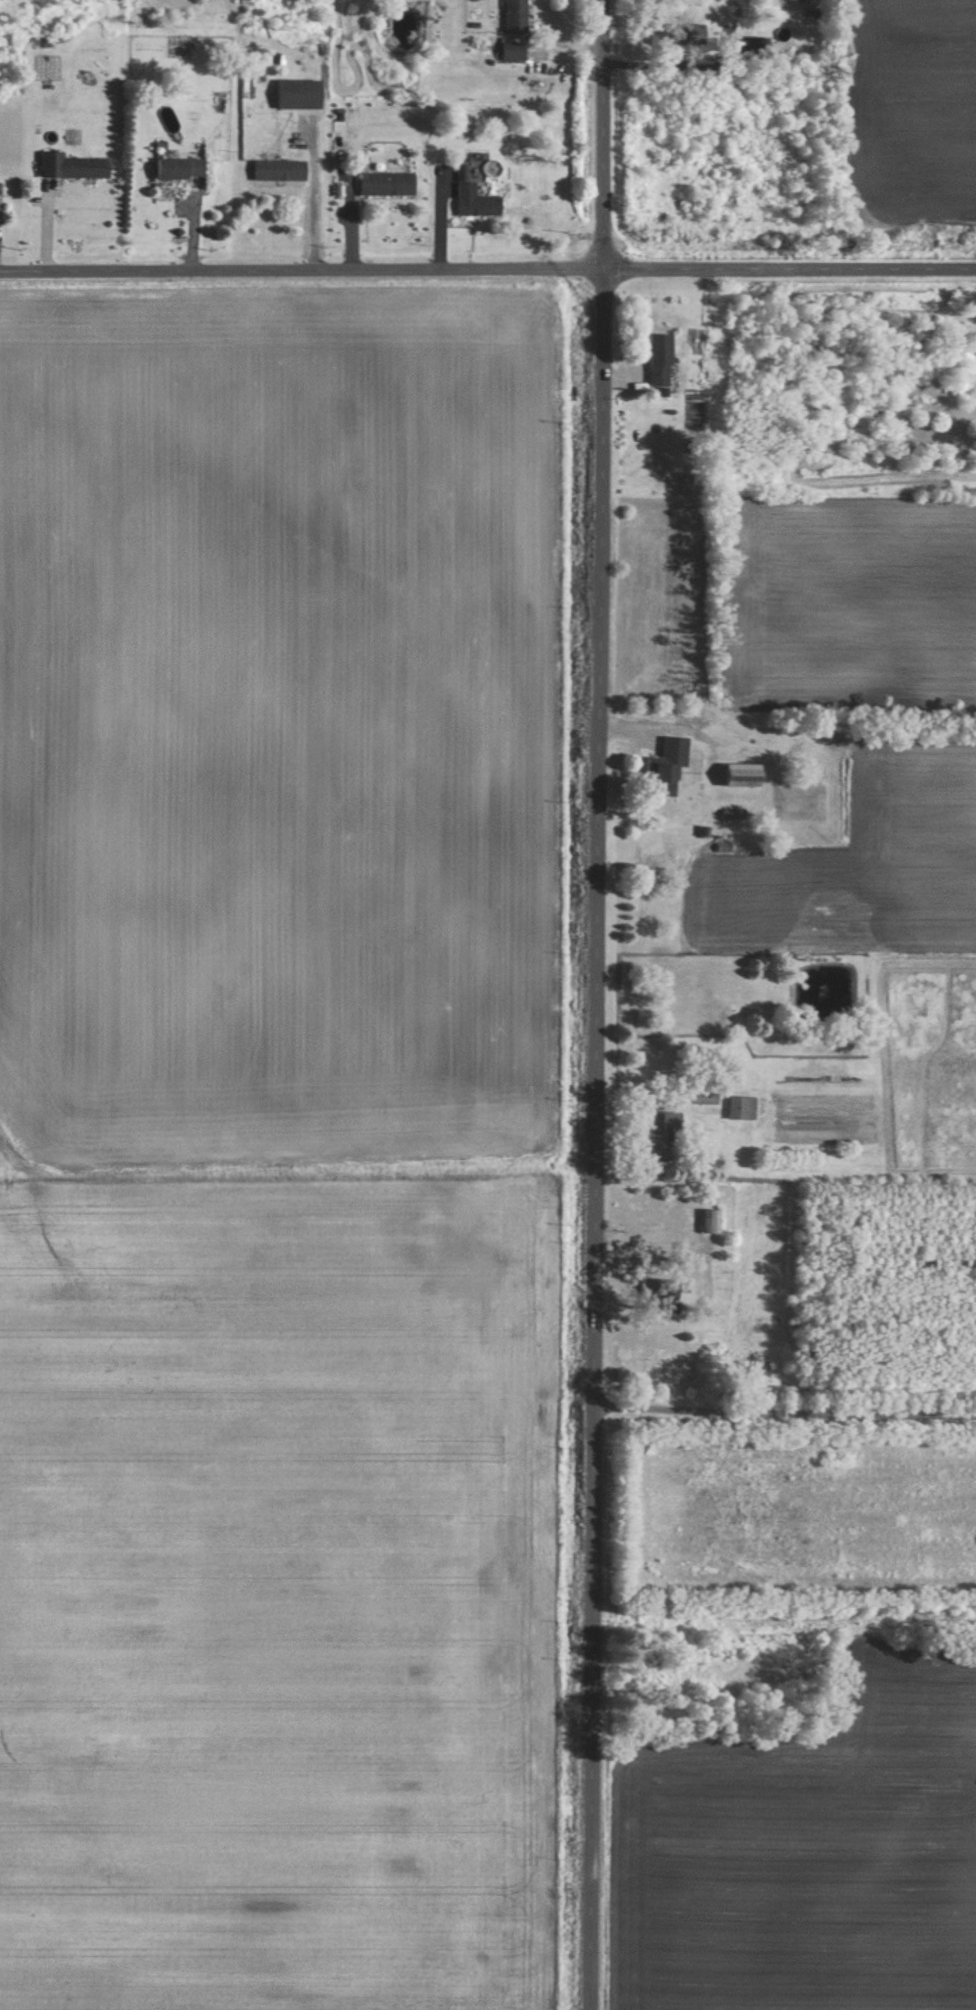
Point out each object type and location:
building: (517, 16)
building: (694, 33)
building: (514, 50)
road: (707, 76)
building: (301, 93)
building: (72, 165)
building: (181, 167)
building: (280, 169)
building: (388, 183)
building: (476, 201)
road: (487, 271)
building: (662, 359)
building: (671, 767)
building: (746, 775)
road: (597, 1004)
building: (705, 1097)
building: (744, 1106)
building: (666, 1137)
building: (716, 1220)
road: (717, 1288)
road: (784, 1411)

